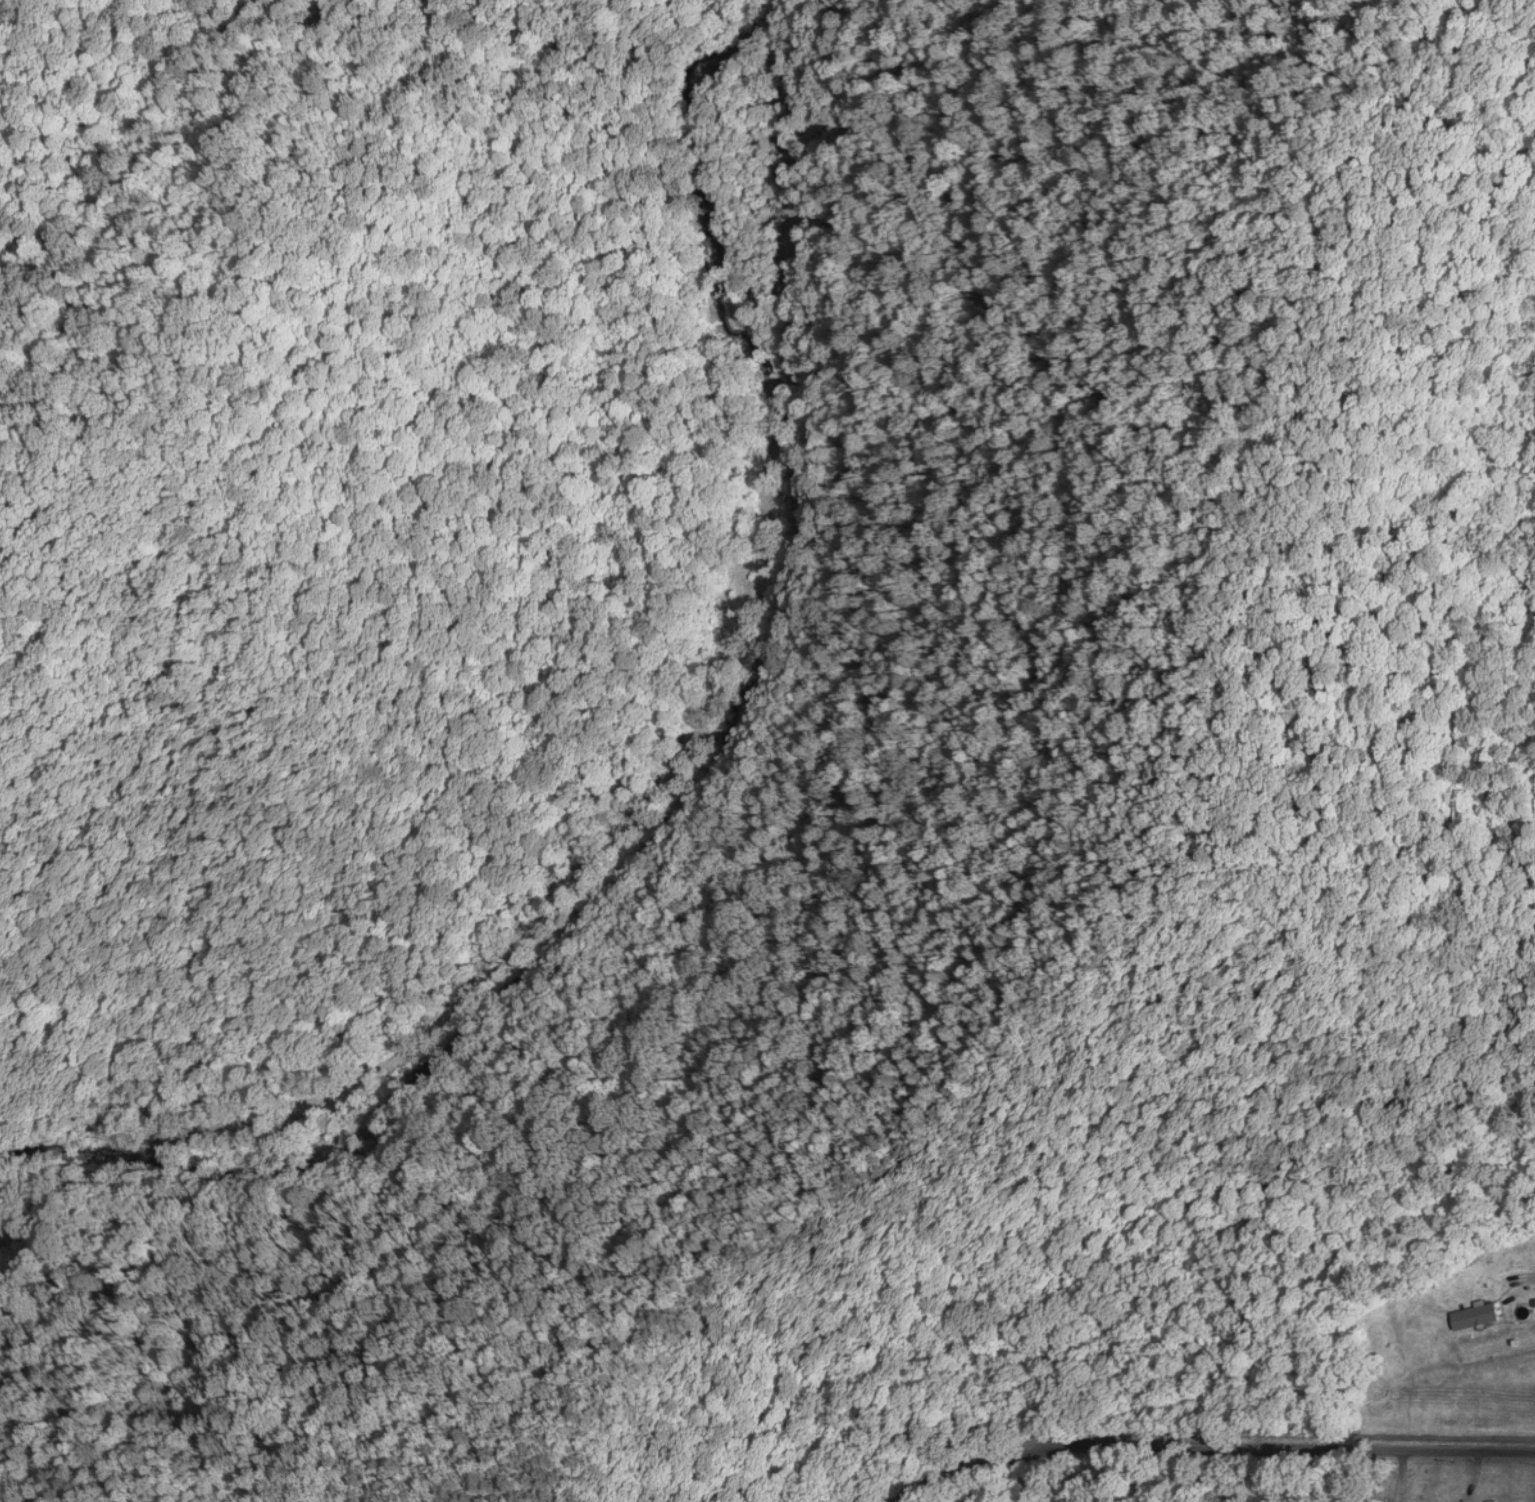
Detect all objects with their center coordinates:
road: (655, 782)
building: (1507, 1281)
building: (1469, 1315)
road: (1215, 1444)

